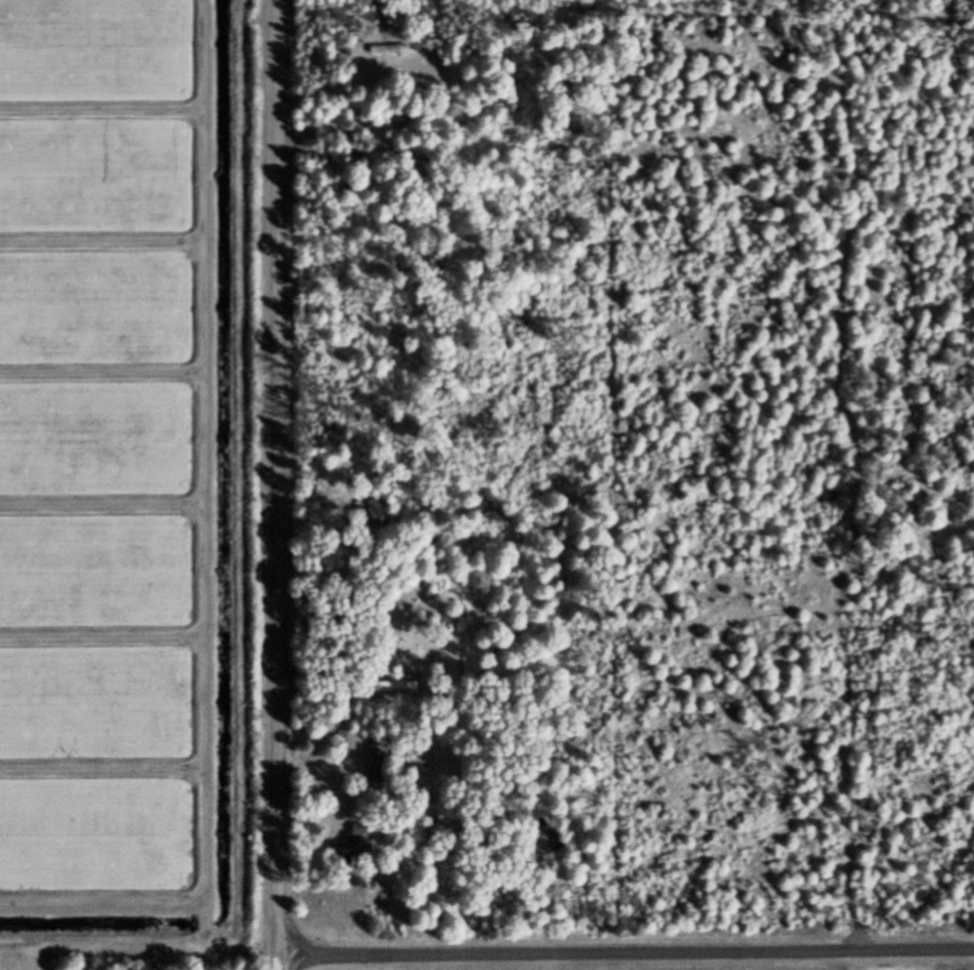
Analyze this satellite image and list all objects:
building: (391, 48)
crop: (112, 463)
road: (278, 485)
building: (401, 687)
building: (348, 741)
building: (384, 758)
building: (363, 831)
building: (356, 850)
road: (626, 952)
crop: (818, 968)

